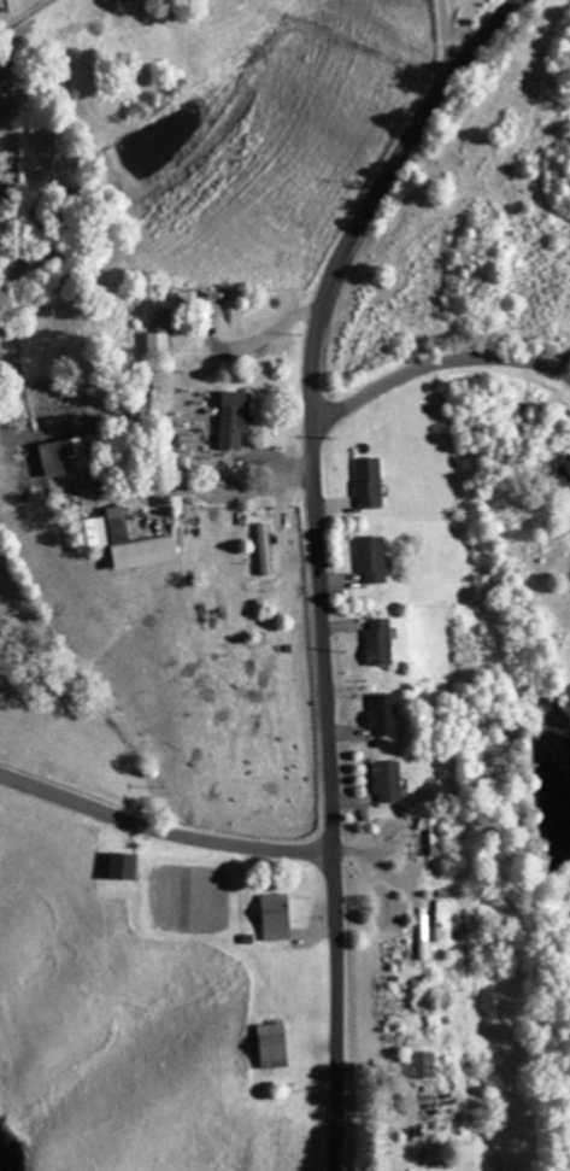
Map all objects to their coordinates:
road: (376, 199)
building: (159, 333)
road: (431, 363)
building: (231, 417)
building: (61, 455)
building: (563, 472)
building: (368, 481)
building: (119, 540)
building: (264, 549)
building: (370, 557)
building: (377, 640)
road: (323, 645)
building: (381, 714)
building: (386, 780)
road: (163, 835)
building: (434, 836)
building: (119, 865)
building: (274, 917)
road: (336, 1014)
building: (269, 1046)
building: (418, 1065)

